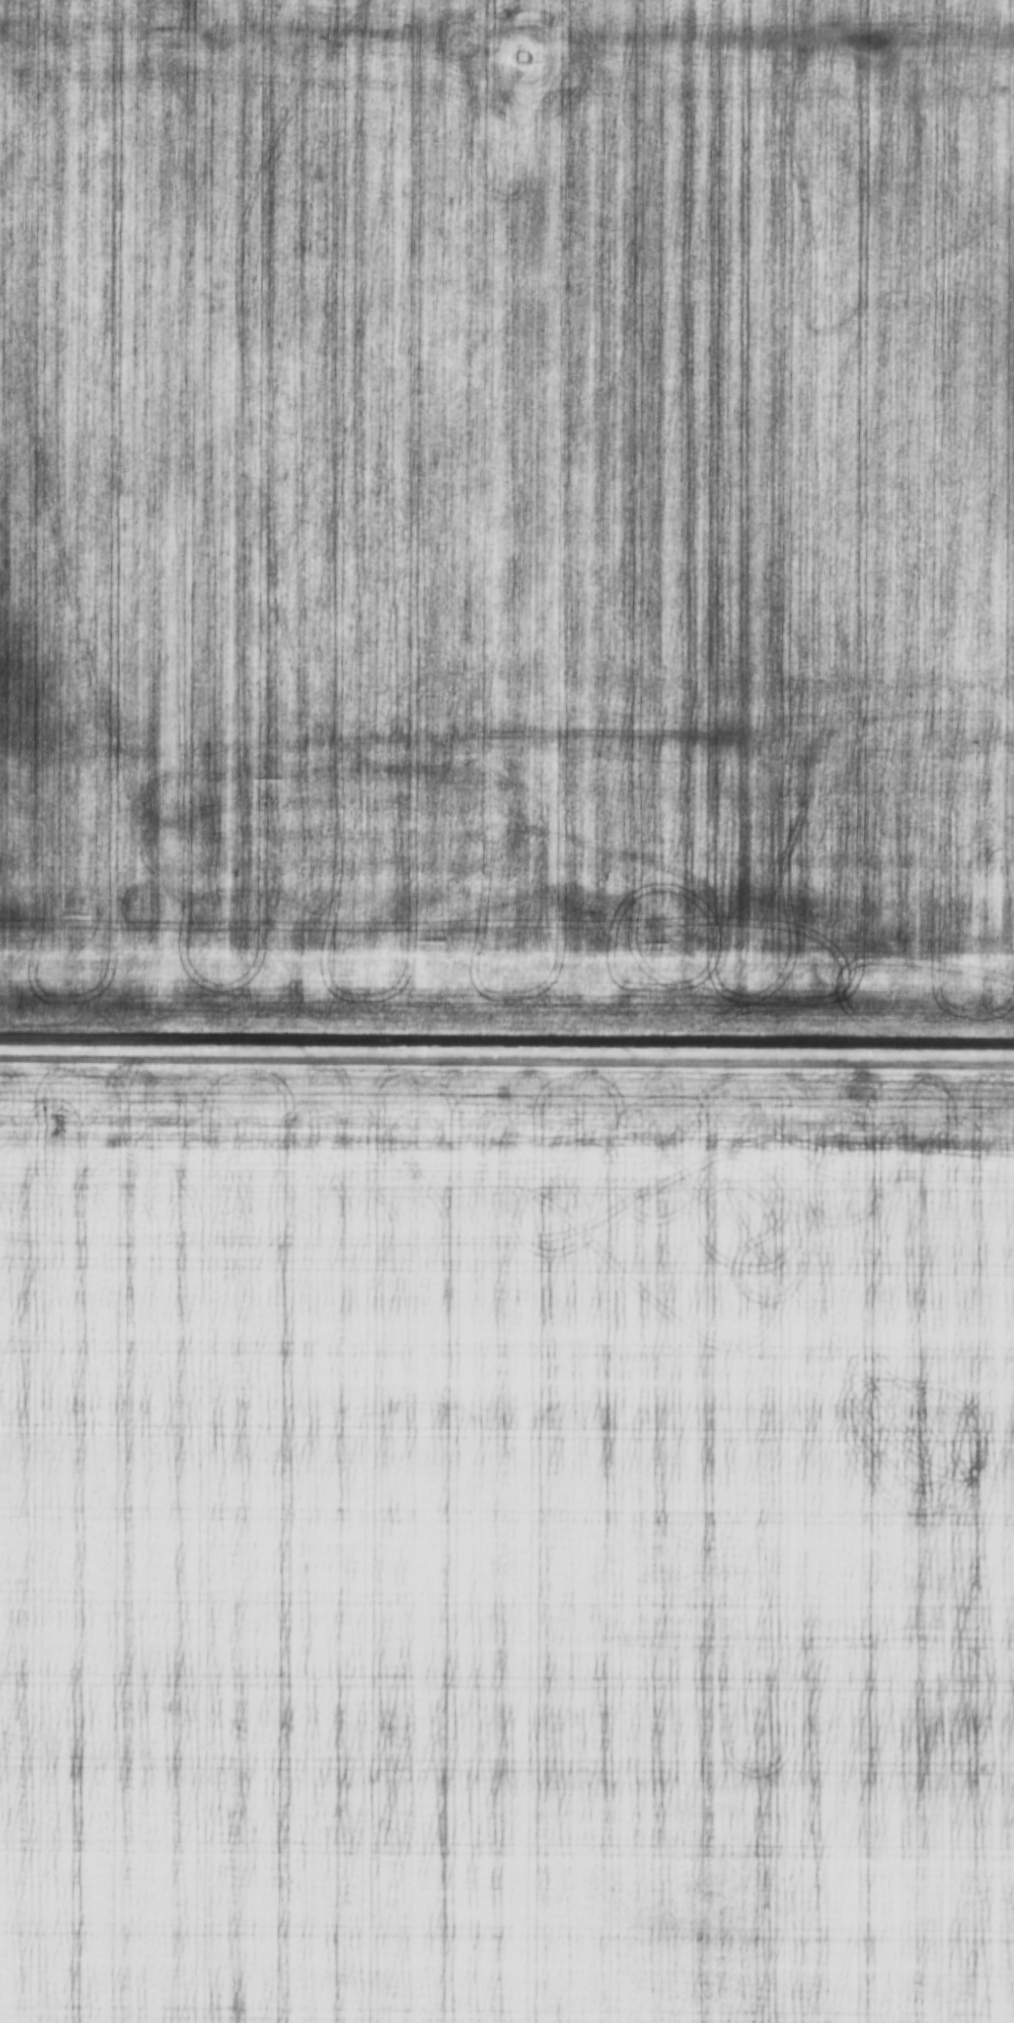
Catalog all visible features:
road: (507, 1038)

